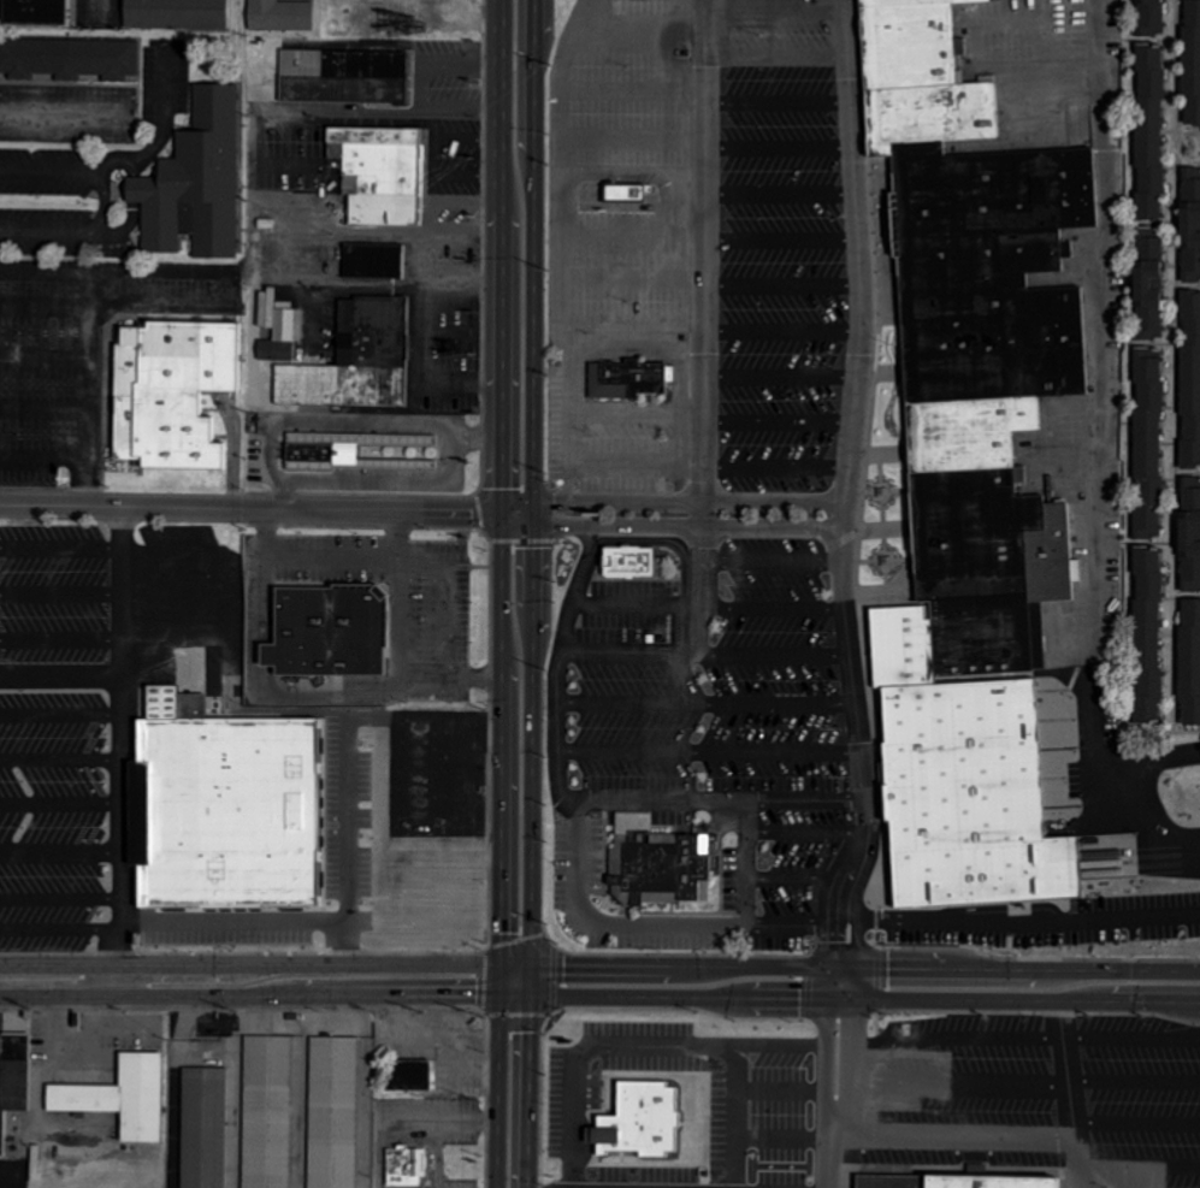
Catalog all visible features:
road: (780, 7)
building: (31, 12)
building: (176, 14)
building: (280, 16)
building: (1158, 19)
road: (644, 35)
road: (1143, 45)
road: (781, 54)
building: (69, 59)
building: (1195, 73)
building: (343, 77)
road: (713, 90)
road: (63, 111)
building: (1159, 138)
road: (715, 141)
road: (1189, 143)
building: (379, 175)
road: (1189, 175)
building: (195, 183)
road: (785, 191)
building: (625, 194)
building: (631, 201)
building: (1194, 232)
road: (717, 235)
building: (374, 261)
road: (720, 278)
building: (1157, 286)
road: (227, 288)
road: (48, 308)
road: (717, 325)
road: (705, 330)
building: (279, 338)
road: (95, 339)
road: (1145, 344)
road: (47, 357)
building: (356, 360)
road: (573, 372)
road: (782, 374)
building: (622, 379)
road: (1177, 384)
building: (1194, 388)
building: (170, 389)
road: (47, 408)
road: (715, 416)
building: (980, 424)
road: (1110, 428)
road: (439, 433)
road: (489, 444)
building: (1154, 445)
road: (46, 459)
building: (330, 461)
parking lot: (709, 474)
road: (519, 490)
road: (852, 493)
road: (259, 509)
traffic signals: (520, 514)
road: (685, 518)
building: (1195, 542)
road: (61, 545)
road: (1142, 551)
road: (307, 558)
road: (776, 568)
building: (639, 569)
road: (61, 592)
road: (442, 595)
road: (716, 610)
road: (61, 638)
building: (337, 638)
building: (1154, 640)
road: (400, 651)
road: (714, 661)
building: (1192, 672)
road: (61, 676)
road: (714, 711)
road: (61, 714)
road: (123, 744)
road: (61, 758)
road: (716, 760)
road: (348, 764)
road: (61, 802)
road: (574, 806)
building: (235, 815)
road: (810, 840)
road: (60, 851)
building: (666, 871)
road: (747, 871)
road: (800, 887)
road: (60, 899)
road: (862, 917)
road: (234, 922)
road: (1040, 924)
road: (60, 927)
road: (652, 936)
road: (256, 981)
traffic signals: (514, 981)
road: (857, 983)
road: (950, 1036)
road: (1133, 1038)
building: (407, 1075)
building: (12, 1076)
road: (953, 1080)
road: (1134, 1082)
road: (509, 1083)
road: (838, 1086)
road: (1069, 1086)
building: (120, 1097)
building: (268, 1111)
building: (335, 1112)
road: (1136, 1124)
building: (203, 1127)
road: (957, 1139)
building: (406, 1165)
road: (1140, 1165)
building: (941, 1181)

